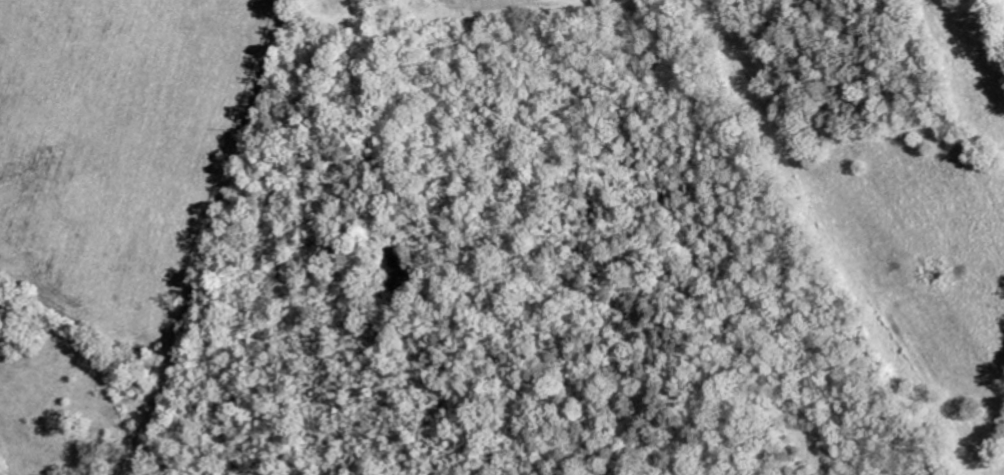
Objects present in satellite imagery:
road: (210, 237)

